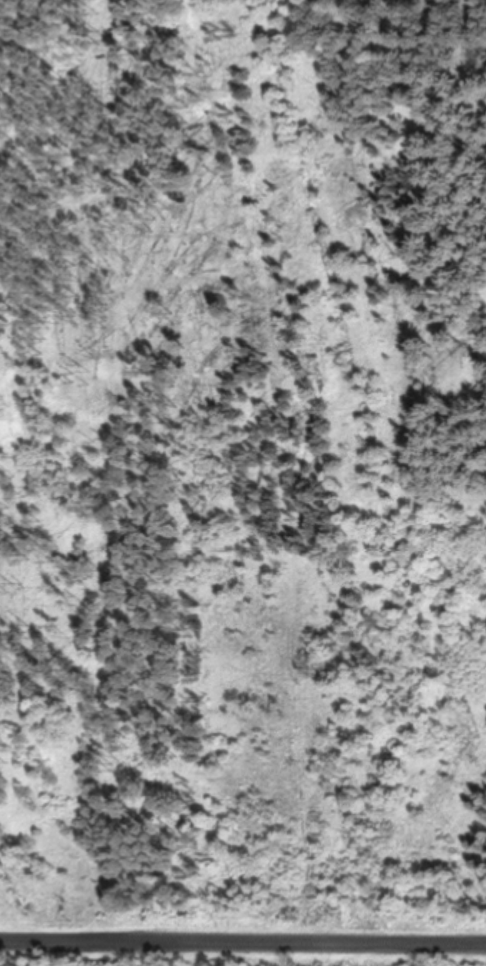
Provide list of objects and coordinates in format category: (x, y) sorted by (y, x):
road: (243, 942)

